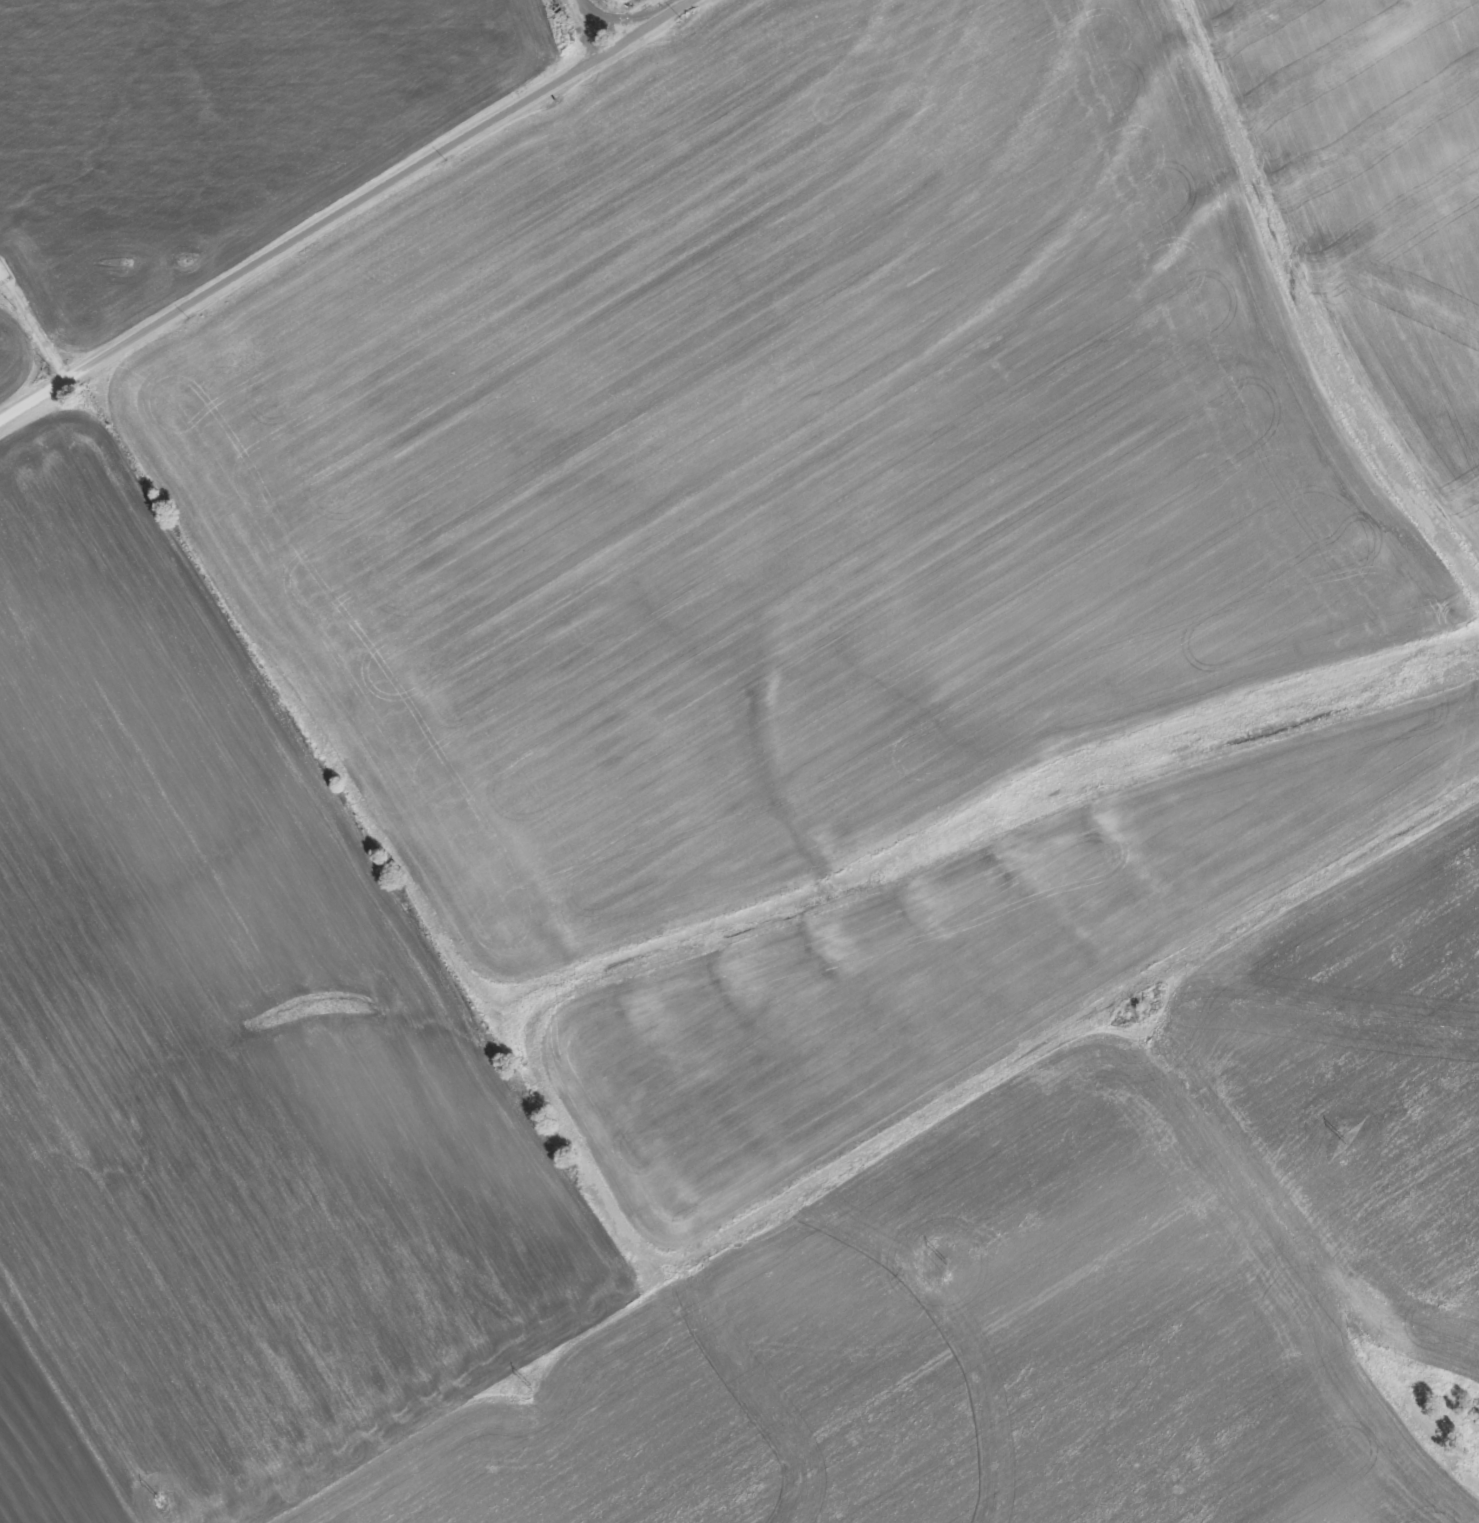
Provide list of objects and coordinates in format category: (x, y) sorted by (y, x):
road: (539, 94)
road: (191, 302)
power tower: (1346, 1136)
power tower: (947, 1261)
power tower: (535, 1385)
power tower: (161, 1497)

